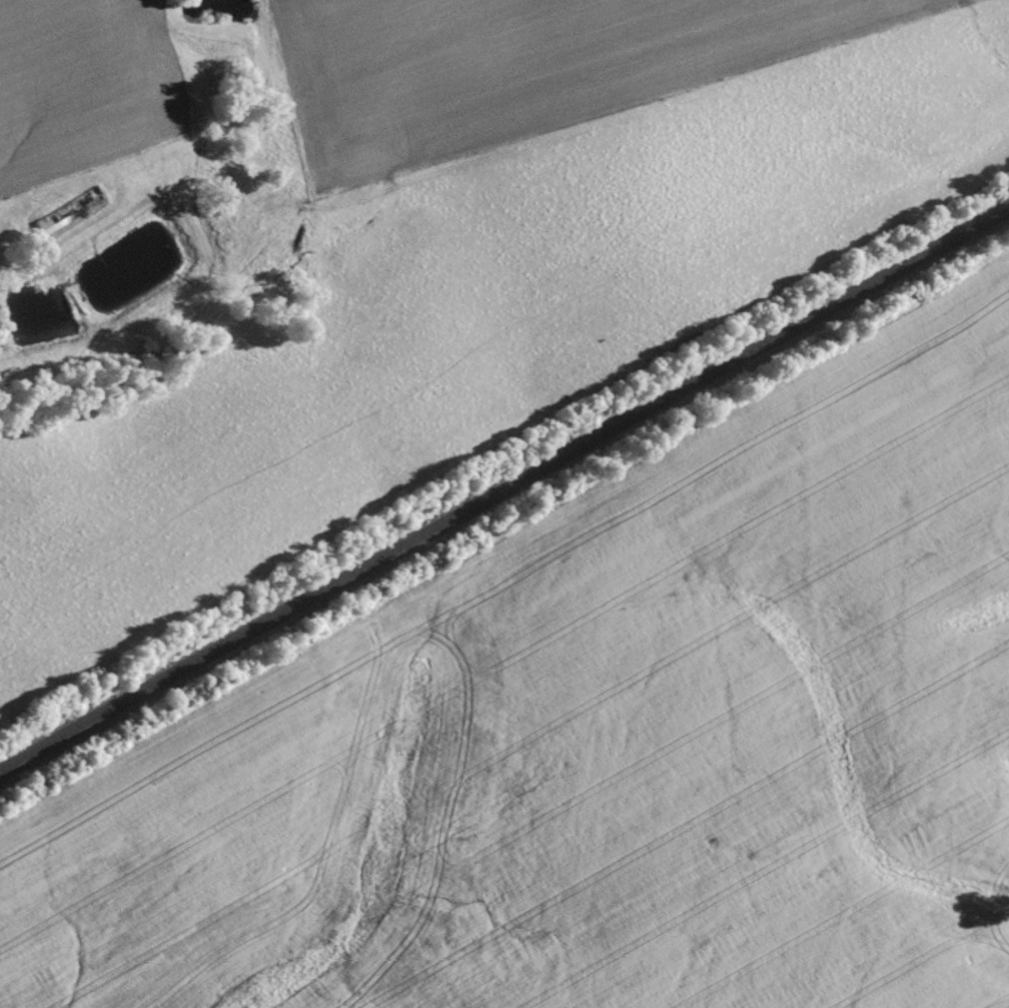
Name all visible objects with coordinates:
building: (64, 212)
railway: (504, 489)

